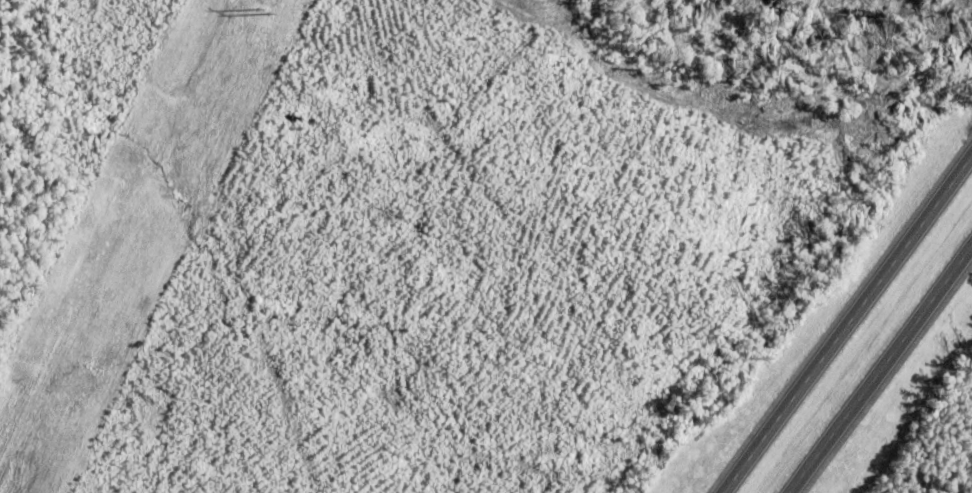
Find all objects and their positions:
power tower: (261, 10)
road: (844, 319)
road: (878, 364)

